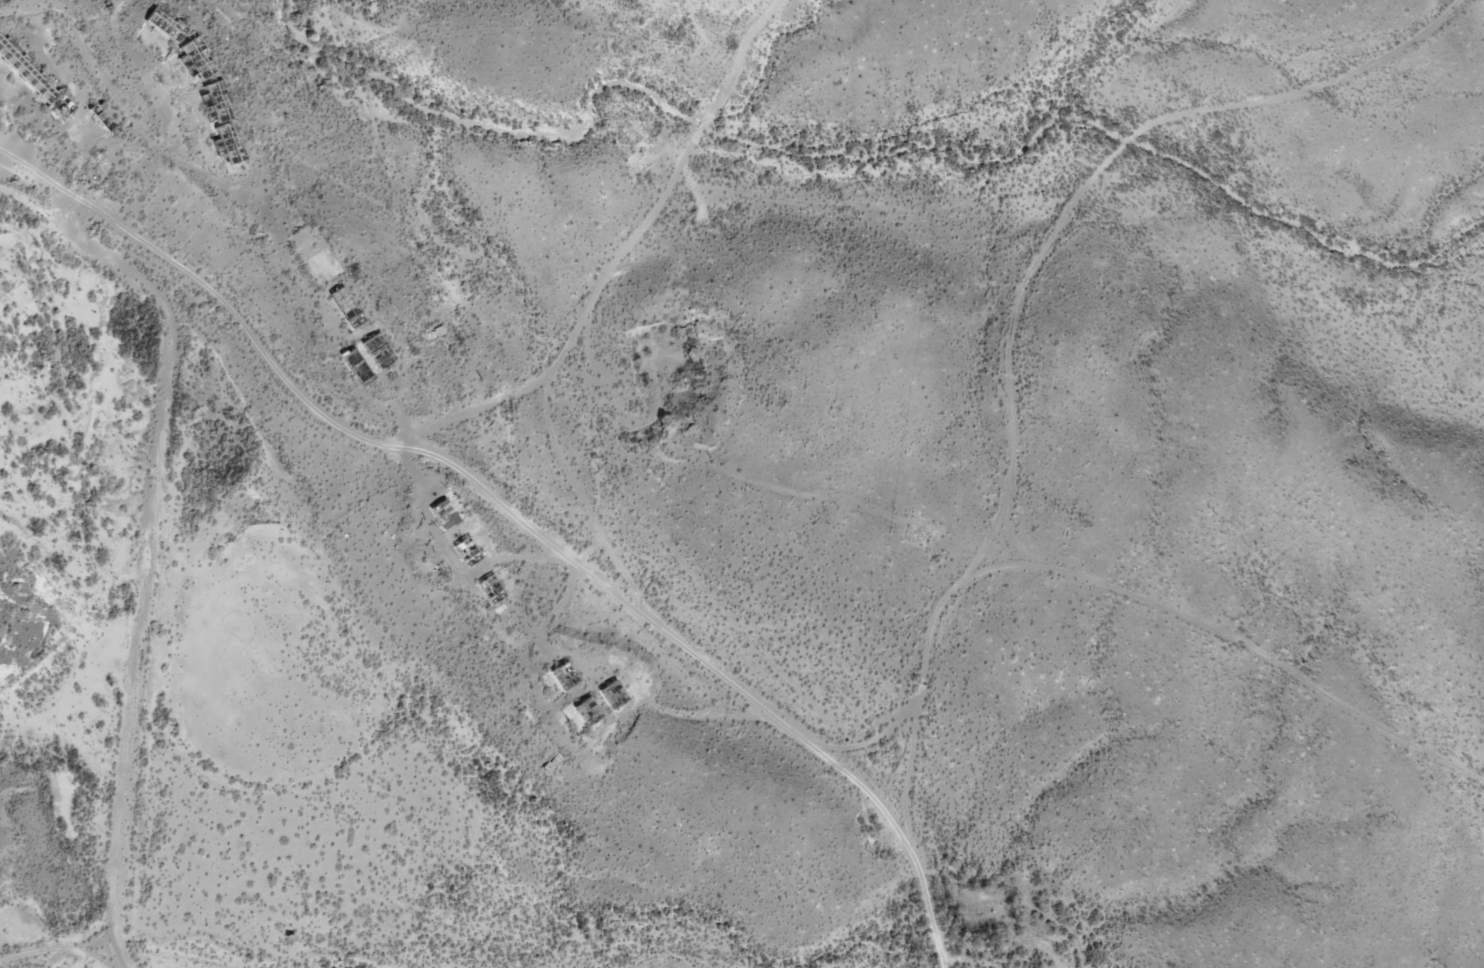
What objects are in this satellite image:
road: (122, 34)
building: (7, 51)
road: (55, 66)
building: (97, 110)
road: (175, 158)
road: (636, 257)
road: (1021, 302)
road: (519, 514)
road: (149, 598)

